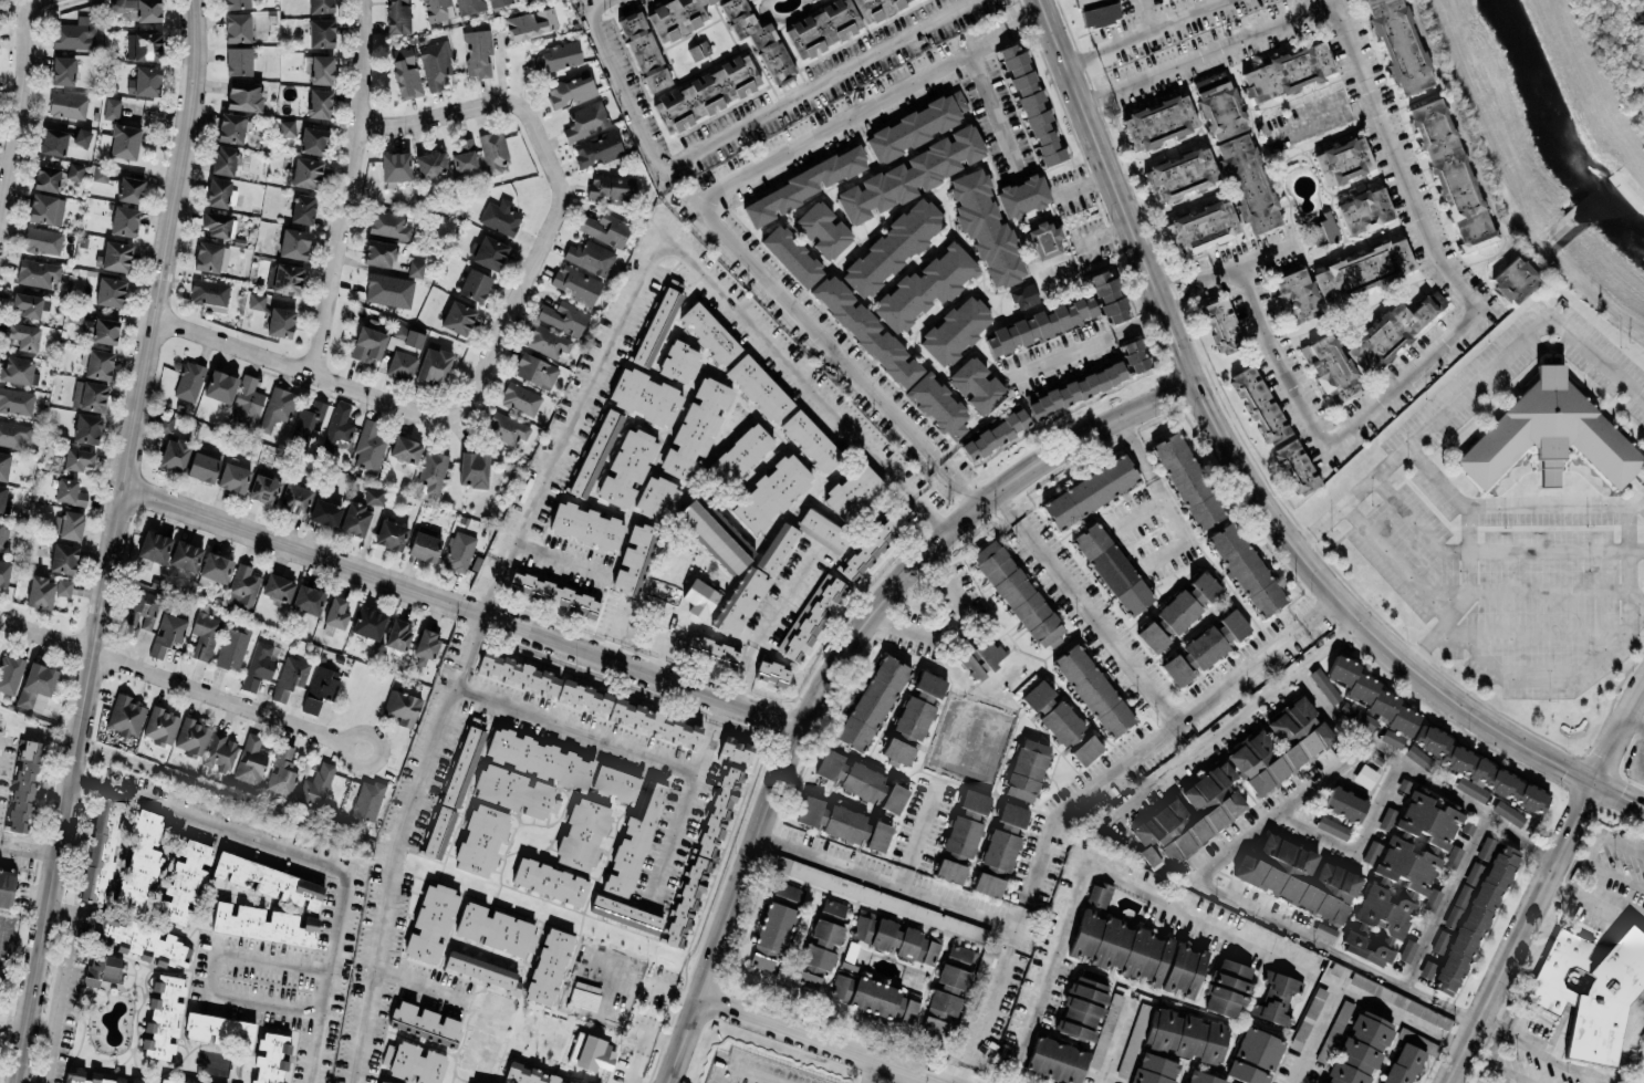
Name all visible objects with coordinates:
building: (499, 2)
building: (236, 3)
building: (320, 6)
building: (469, 6)
building: (875, 7)
building: (137, 9)
building: (437, 9)
building: (1096, 11)
building: (398, 15)
road: (1144, 15)
building: (676, 17)
building: (530, 22)
building: (237, 27)
building: (823, 27)
building: (74, 32)
building: (321, 32)
road: (1145, 32)
building: (759, 39)
building: (144, 45)
building: (1397, 45)
park: (1617, 49)
building: (644, 51)
building: (478, 52)
building: (558, 56)
building: (238, 60)
building: (435, 63)
building: (321, 69)
building: (62, 70)
building: (1287, 71)
building: (405, 72)
building: (144, 81)
building: (570, 90)
building: (705, 93)
building: (243, 95)
building: (319, 103)
building: (67, 105)
building: (1032, 105)
building: (111, 108)
road: (993, 111)
road: (21, 114)
building: (584, 119)
building: (1158, 122)
road: (1318, 122)
building: (917, 125)
building: (230, 127)
building: (288, 127)
road: (732, 129)
building: (82, 137)
building: (312, 139)
building: (54, 142)
building: (119, 142)
river: (1549, 143)
building: (1234, 145)
building: (596, 148)
building: (493, 152)
building: (464, 156)
building: (223, 159)
building: (1343, 160)
building: (430, 163)
building: (395, 165)
building: (74, 170)
building: (101, 173)
building: (305, 173)
building: (912, 174)
building: (1451, 174)
building: (1179, 175)
building: (46, 177)
road: (1082, 181)
road: (561, 184)
building: (801, 186)
road: (350, 187)
building: (129, 188)
building: (611, 189)
road: (1116, 190)
building: (219, 192)
building: (45, 208)
building: (302, 208)
building: (1364, 209)
road: (699, 210)
building: (500, 216)
building: (995, 219)
building: (124, 220)
building: (216, 223)
building: (388, 223)
road: (1424, 226)
building: (1201, 227)
building: (605, 228)
building: (1321, 228)
building: (823, 229)
building: (1045, 239)
building: (42, 240)
road: (1103, 240)
building: (293, 242)
road: (665, 247)
building: (892, 247)
building: (488, 251)
building: (378, 252)
building: (116, 256)
building: (210, 256)
building: (791, 256)
building: (590, 257)
road: (1245, 261)
building: (415, 268)
building: (37, 272)
building: (1342, 277)
building: (284, 278)
road: (1173, 280)
building: (1515, 280)
building: (576, 283)
building: (474, 284)
building: (925, 287)
building: (388, 290)
building: (111, 291)
building: (209, 293)
building: (1023, 295)
building: (1109, 296)
road: (1180, 298)
building: (256, 300)
building: (25, 303)
building: (563, 315)
building: (458, 317)
building: (280, 322)
building: (657, 324)
building: (1042, 324)
building: (1221, 324)
building: (97, 327)
building: (955, 330)
building: (866, 331)
building: (708, 332)
building: (23, 335)
building: (550, 342)
building: (368, 344)
building: (1367, 345)
road: (1086, 346)
building: (403, 351)
building: (1135, 355)
road: (1598, 355)
building: (678, 362)
building: (96, 363)
building: (434, 365)
building: (17, 368)
road: (306, 369)
building: (535, 371)
building: (188, 379)
building: (977, 384)
building: (220, 385)
building: (759, 387)
building: (89, 395)
building: (646, 396)
building: (520, 398)
building: (15, 400)
building: (246, 402)
building: (1259, 404)
building: (938, 405)
building: (277, 407)
building: (308, 424)
building: (337, 426)
building: (86, 428)
building: (696, 428)
building: (509, 429)
road: (1422, 430)
building: (13, 433)
building: (1549, 434)
building: (810, 440)
building: (368, 447)
building: (405, 449)
road: (1147, 449)
building: (594, 452)
building: (174, 454)
building: (738, 456)
building: (77, 458)
building: (3, 465)
building: (202, 466)
building: (1296, 466)
building: (626, 467)
building: (472, 469)
building: (433, 470)
building: (233, 477)
building: (1187, 480)
building: (263, 489)
building: (69, 491)
building: (1090, 491)
building: (771, 492)
building: (854, 492)
building: (373, 496)
building: (2, 497)
building: (294, 498)
building: (657, 498)
road: (1557, 503)
building: (324, 512)
road: (932, 512)
building: (354, 519)
building: (67, 524)
building: (586, 525)
building: (823, 530)
building: (3, 531)
road: (1197, 531)
building: (391, 534)
building: (712, 537)
building: (875, 540)
road: (114, 542)
building: (424, 545)
road: (1385, 545)
building: (153, 546)
building: (776, 546)
road: (1492, 549)
building: (458, 550)
road: (1466, 552)
building: (185, 555)
building: (63, 558)
building: (634, 559)
road: (559, 562)
road: (1627, 564)
building: (215, 569)
building: (1112, 569)
building: (1246, 569)
building: (3, 572)
building: (242, 585)
building: (1205, 585)
building: (278, 586)
building: (45, 590)
road: (1527, 591)
building: (1017, 592)
building: (553, 593)
building: (699, 596)
road: (1635, 597)
building: (308, 600)
road: (623, 600)
building: (741, 601)
road: (1092, 604)
road: (464, 606)
road: (477, 611)
building: (1178, 611)
building: (141, 612)
building: (336, 612)
building: (811, 616)
road: (1635, 617)
building: (368, 622)
road: (766, 623)
building: (1234, 623)
road: (1539, 631)
building: (167, 633)
road: (960, 633)
building: (397, 634)
building: (205, 635)
road: (1377, 635)
building: (1152, 636)
building: (426, 644)
road: (662, 644)
road: (1328, 645)
building: (232, 647)
building: (712, 648)
building: (1194, 655)
building: (982, 657)
road: (841, 660)
building: (260, 664)
building: (10, 671)
building: (771, 673)
road: (1517, 673)
building: (519, 674)
building: (290, 676)
building: (322, 683)
road: (180, 684)
building: (929, 684)
building: (35, 686)
building: (1324, 686)
building: (1093, 689)
building: (583, 696)
building: (1037, 697)
road: (1320, 700)
building: (1374, 700)
building: (872, 702)
building: (310, 705)
building: (402, 706)
building: (125, 715)
road: (720, 715)
building: (914, 717)
road: (1635, 720)
building: (653, 721)
building: (1063, 723)
building: (160, 725)
road: (575, 729)
building: (191, 736)
building: (1304, 743)
building: (1085, 749)
building: (219, 750)
building: (737, 750)
building: (897, 750)
building: (1418, 757)
building: (539, 758)
building: (250, 759)
road: (1636, 760)
building: (464, 761)
building: (830, 768)
building: (1026, 769)
building: (281, 771)
building: (1479, 771)
building: (615, 782)
building: (864, 782)
building: (316, 784)
building: (23, 785)
building: (514, 791)
road: (1090, 794)
building: (894, 798)
building: (366, 800)
building: (1344, 803)
building: (809, 810)
building: (1508, 812)
road: (680, 814)
building: (1012, 816)
building: (1188, 816)
building: (854, 826)
building: (1333, 826)
building: (437, 832)
building: (583, 833)
road: (926, 834)
building: (961, 835)
building: (480, 841)
building: (633, 842)
road: (1359, 845)
road: (30, 847)
building: (1000, 848)
building: (1371, 852)
building: (101, 854)
building: (1453, 855)
building: (700, 856)
road: (310, 858)
building: (138, 864)
road: (389, 869)
building: (949, 871)
road: (891, 872)
building: (1298, 876)
building: (1401, 879)
building: (268, 881)
building: (549, 881)
road: (1546, 882)
building: (185, 883)
building: (987, 884)
building: (6, 886)
building: (788, 891)
building: (1100, 893)
building: (880, 897)
road: (1446, 902)
road: (1242, 903)
road: (1594, 905)
road: (1195, 912)
building: (625, 914)
building: (1474, 919)
building: (263, 923)
building: (430, 923)
building: (829, 923)
building: (495, 929)
building: (1325, 929)
building: (771, 935)
building: (893, 937)
building: (1406, 949)
building: (1138, 952)
building: (548, 966)
building: (813, 966)
building: (102, 968)
road: (1048, 969)
building: (483, 970)
building: (1426, 970)
road: (211, 972)
road: (67, 983)
road: (420, 986)
building: (1227, 988)
road: (1352, 989)
building: (1590, 989)
building: (948, 990)
road: (606, 993)
building: (875, 997)
building: (1276, 997)
building: (583, 998)
building: (1400, 1000)
building: (1089, 1013)
building: (163, 1016)
building: (425, 1022)
building: (1339, 1022)
road: (1494, 1022)
building: (219, 1029)
road: (826, 1038)
building: (1133, 1040)
road: (1116, 1044)
building: (1176, 1044)
building: (1359, 1049)
building: (590, 1052)
building: (1255, 1056)
building: (1405, 1056)
road: (1552, 1056)
building: (271, 1058)
building: (1057, 1060)
building: (414, 1062)
road: (1498, 1063)
road: (873, 1070)
road: (747, 1071)
building: (530, 1075)
building: (84, 1077)
building: (1203, 1077)
building: (169, 1081)
building: (134, 1082)
building: (382, 1082)
building: (470, 1082)

